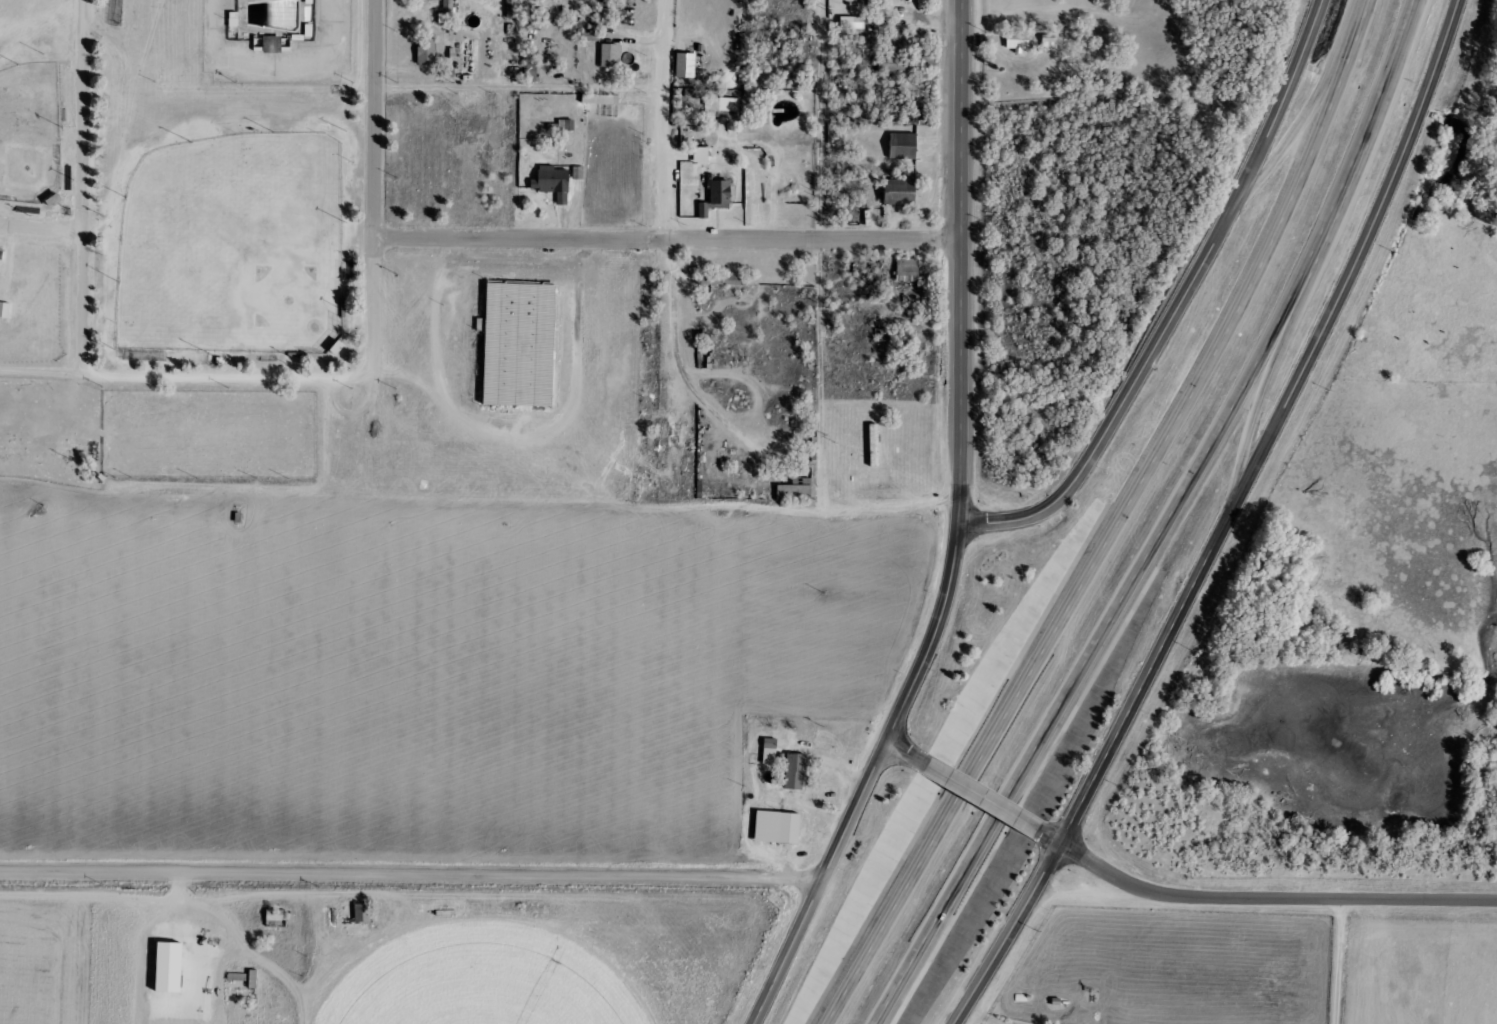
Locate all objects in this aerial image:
building: (852, 22)
building: (1018, 41)
building: (611, 55)
building: (685, 65)
building: (892, 67)
road: (521, 94)
building: (600, 99)
road: (1274, 117)
road: (375, 118)
road: (667, 120)
road: (827, 120)
road: (1300, 122)
park: (33, 136)
building: (903, 146)
building: (701, 154)
building: (577, 173)
building: (554, 183)
road: (83, 187)
building: (901, 192)
building: (717, 196)
park: (170, 199)
road: (41, 234)
road: (667, 241)
park: (241, 249)
road: (960, 261)
building: (907, 270)
road: (1347, 277)
building: (718, 279)
building: (5, 310)
road: (681, 359)
road: (255, 374)
road: (1255, 408)
road: (1115, 411)
building: (875, 446)
building: (880, 477)
road: (876, 509)
road: (1128, 524)
road: (1177, 524)
road: (934, 634)
building: (770, 751)
road: (907, 752)
building: (777, 754)
building: (803, 773)
road: (1088, 788)
road: (981, 796)
road: (854, 810)
building: (785, 829)
road: (1048, 836)
road: (410, 876)
road: (1272, 902)
building: (363, 914)
road: (784, 952)

